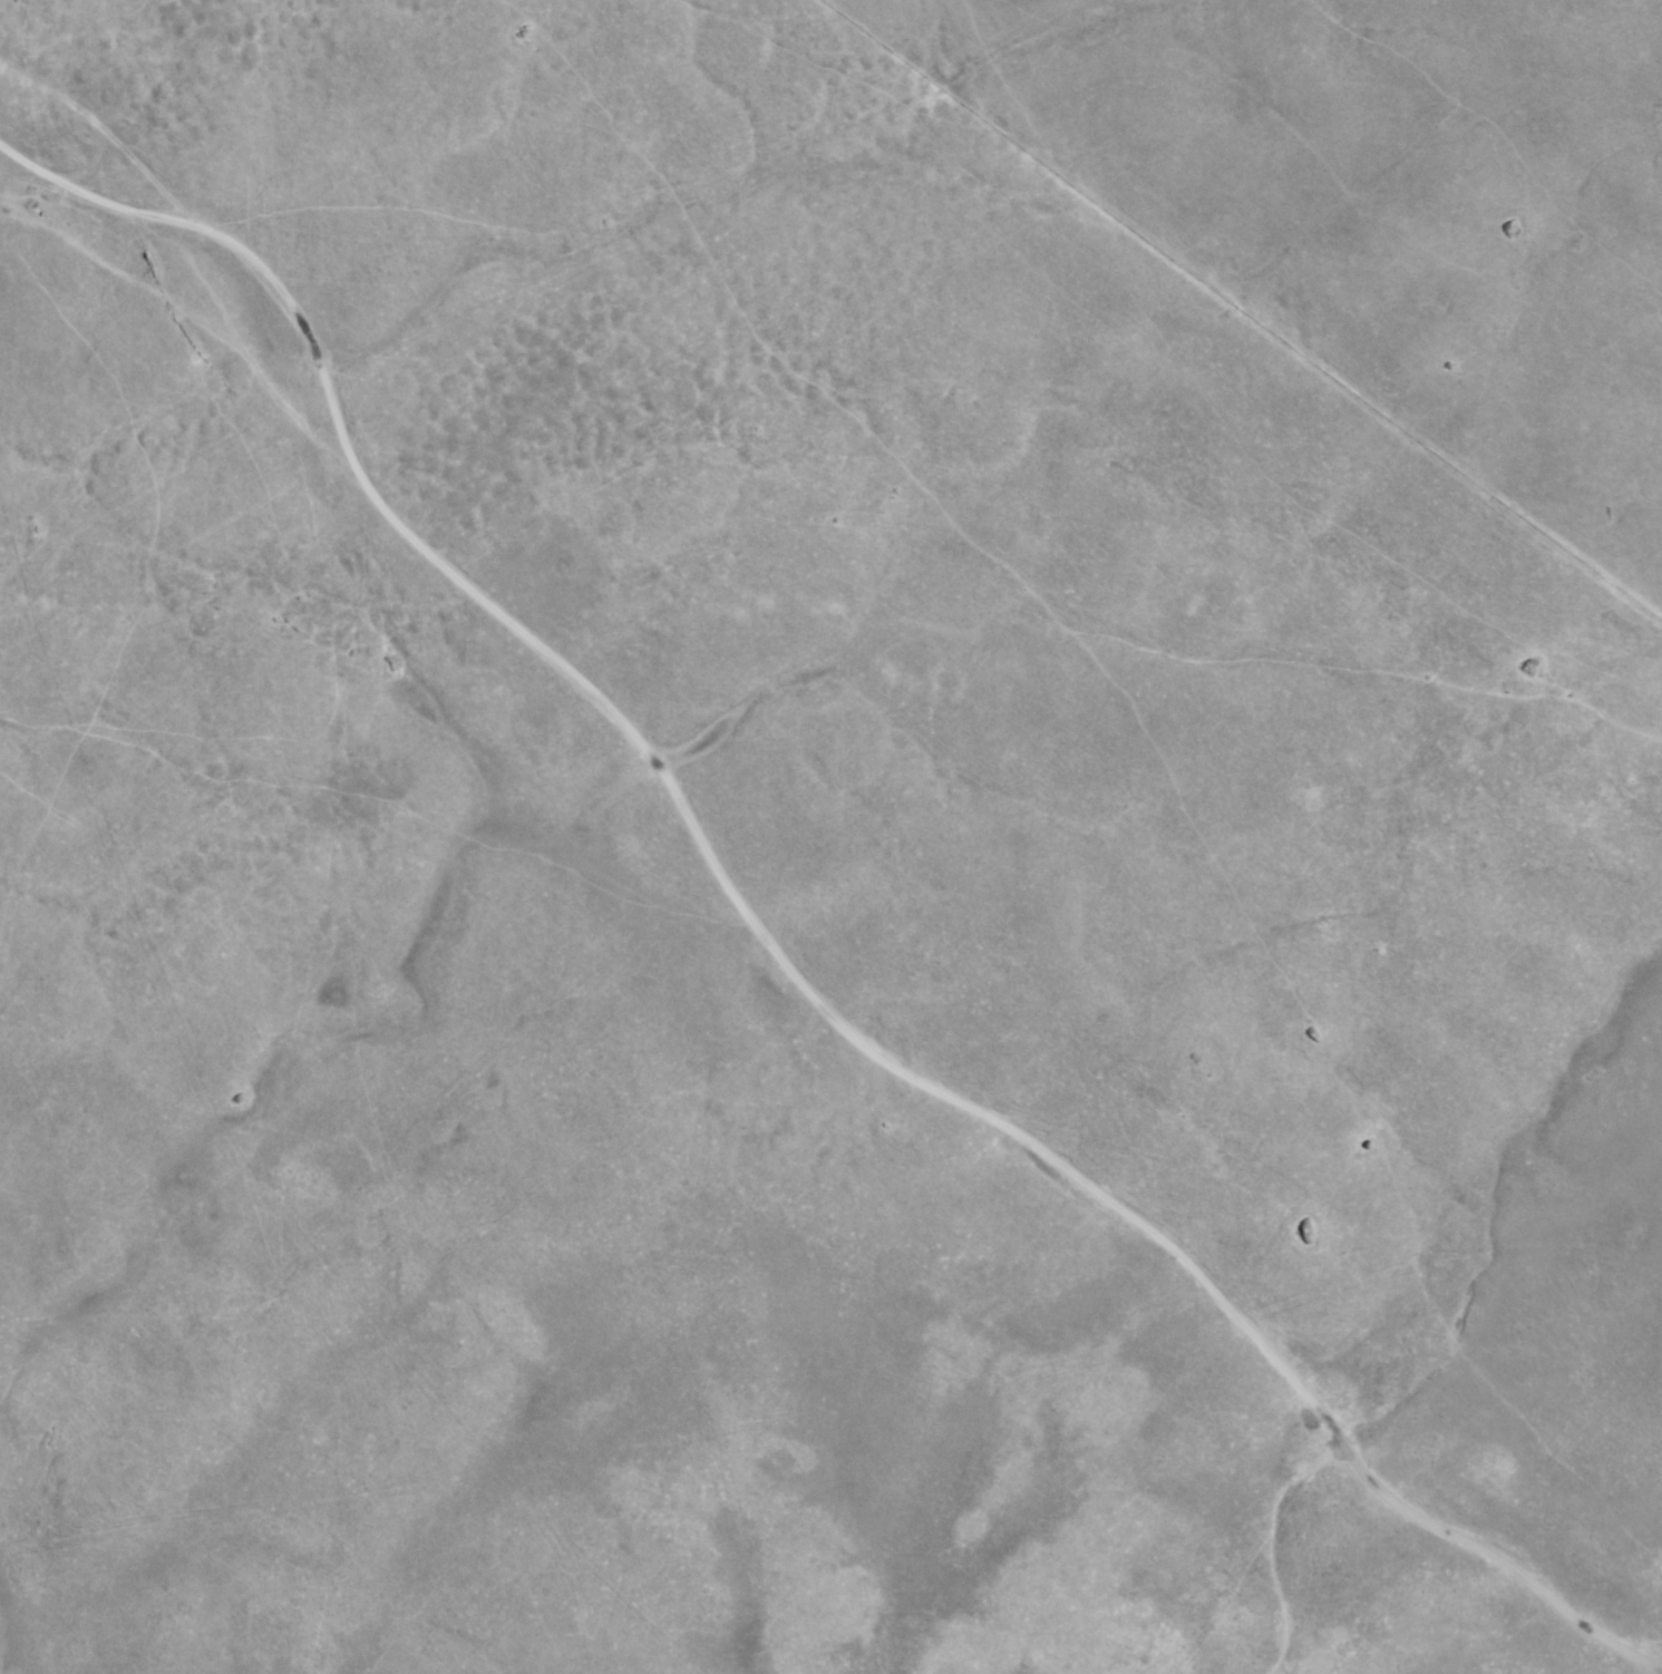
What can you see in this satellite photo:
road: (749, 951)

